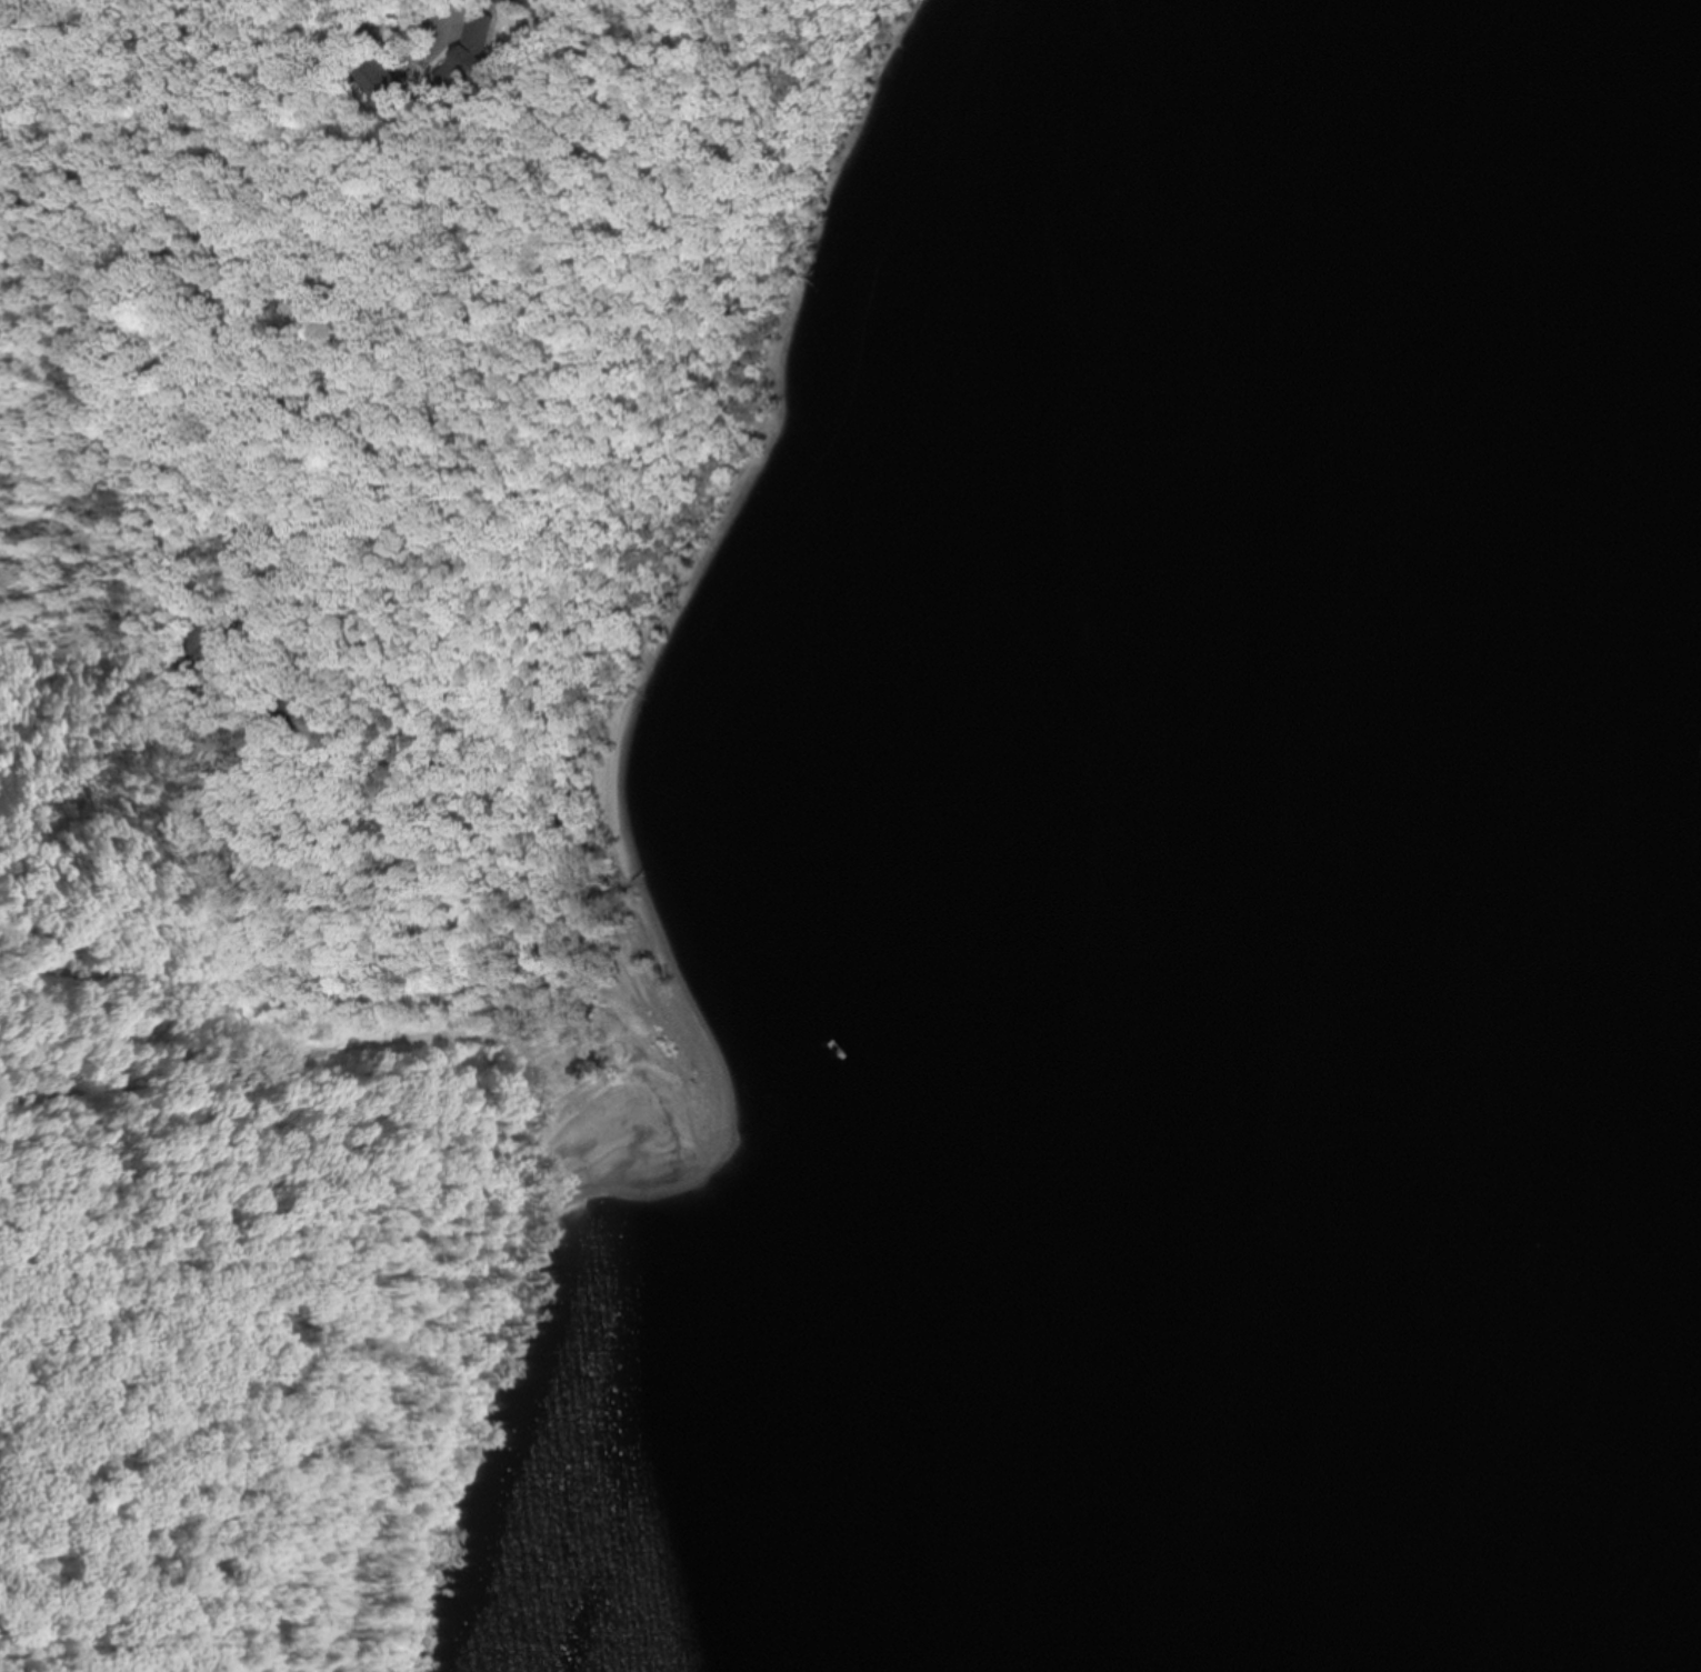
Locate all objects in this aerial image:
road: (246, 44)
building: (473, 49)
building: (379, 81)
building: (203, 641)
building: (287, 705)
river: (1424, 958)
park: (271, 1231)
building: (263, 1338)

